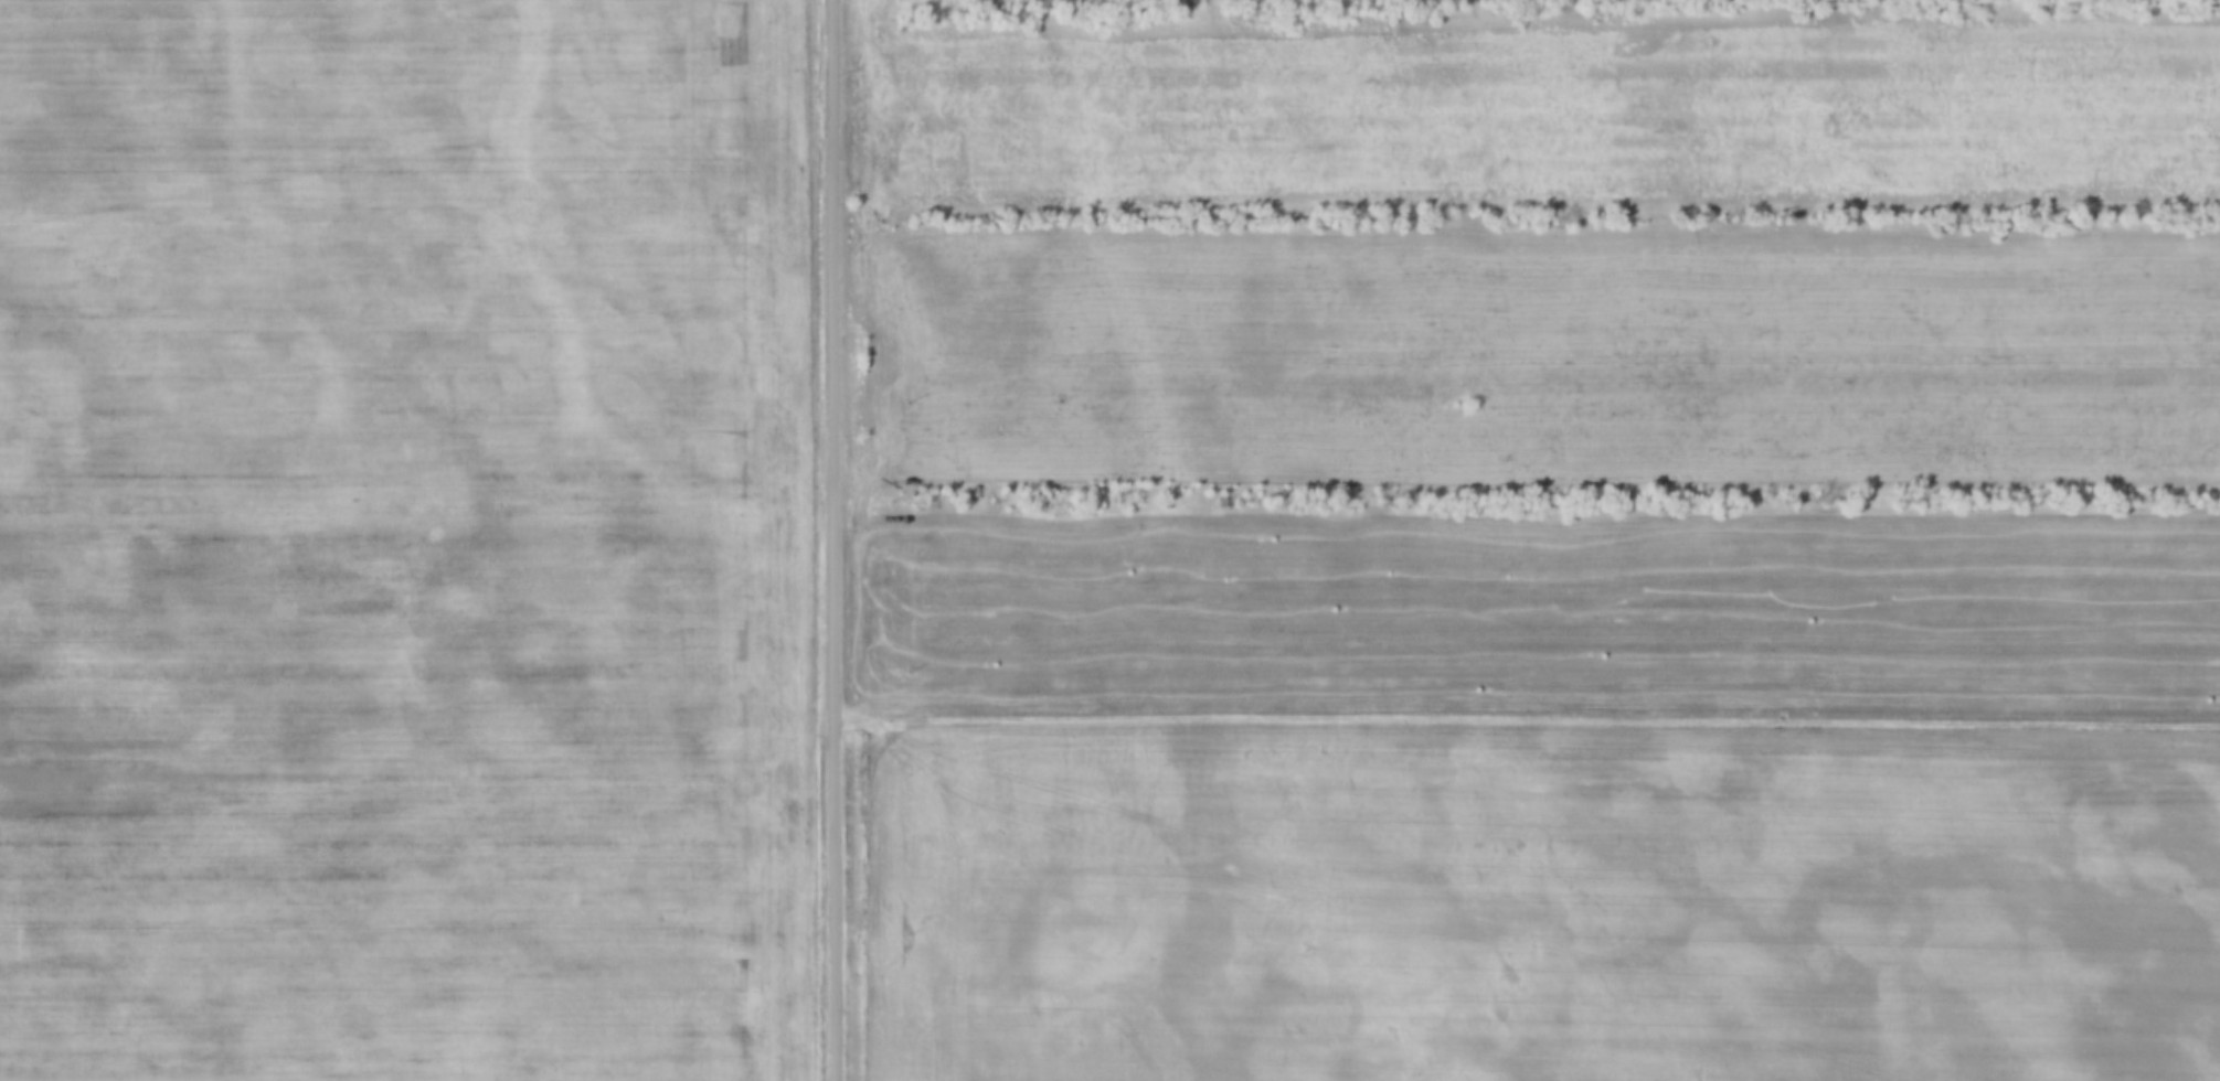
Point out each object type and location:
road: (833, 539)
road: (1525, 725)

